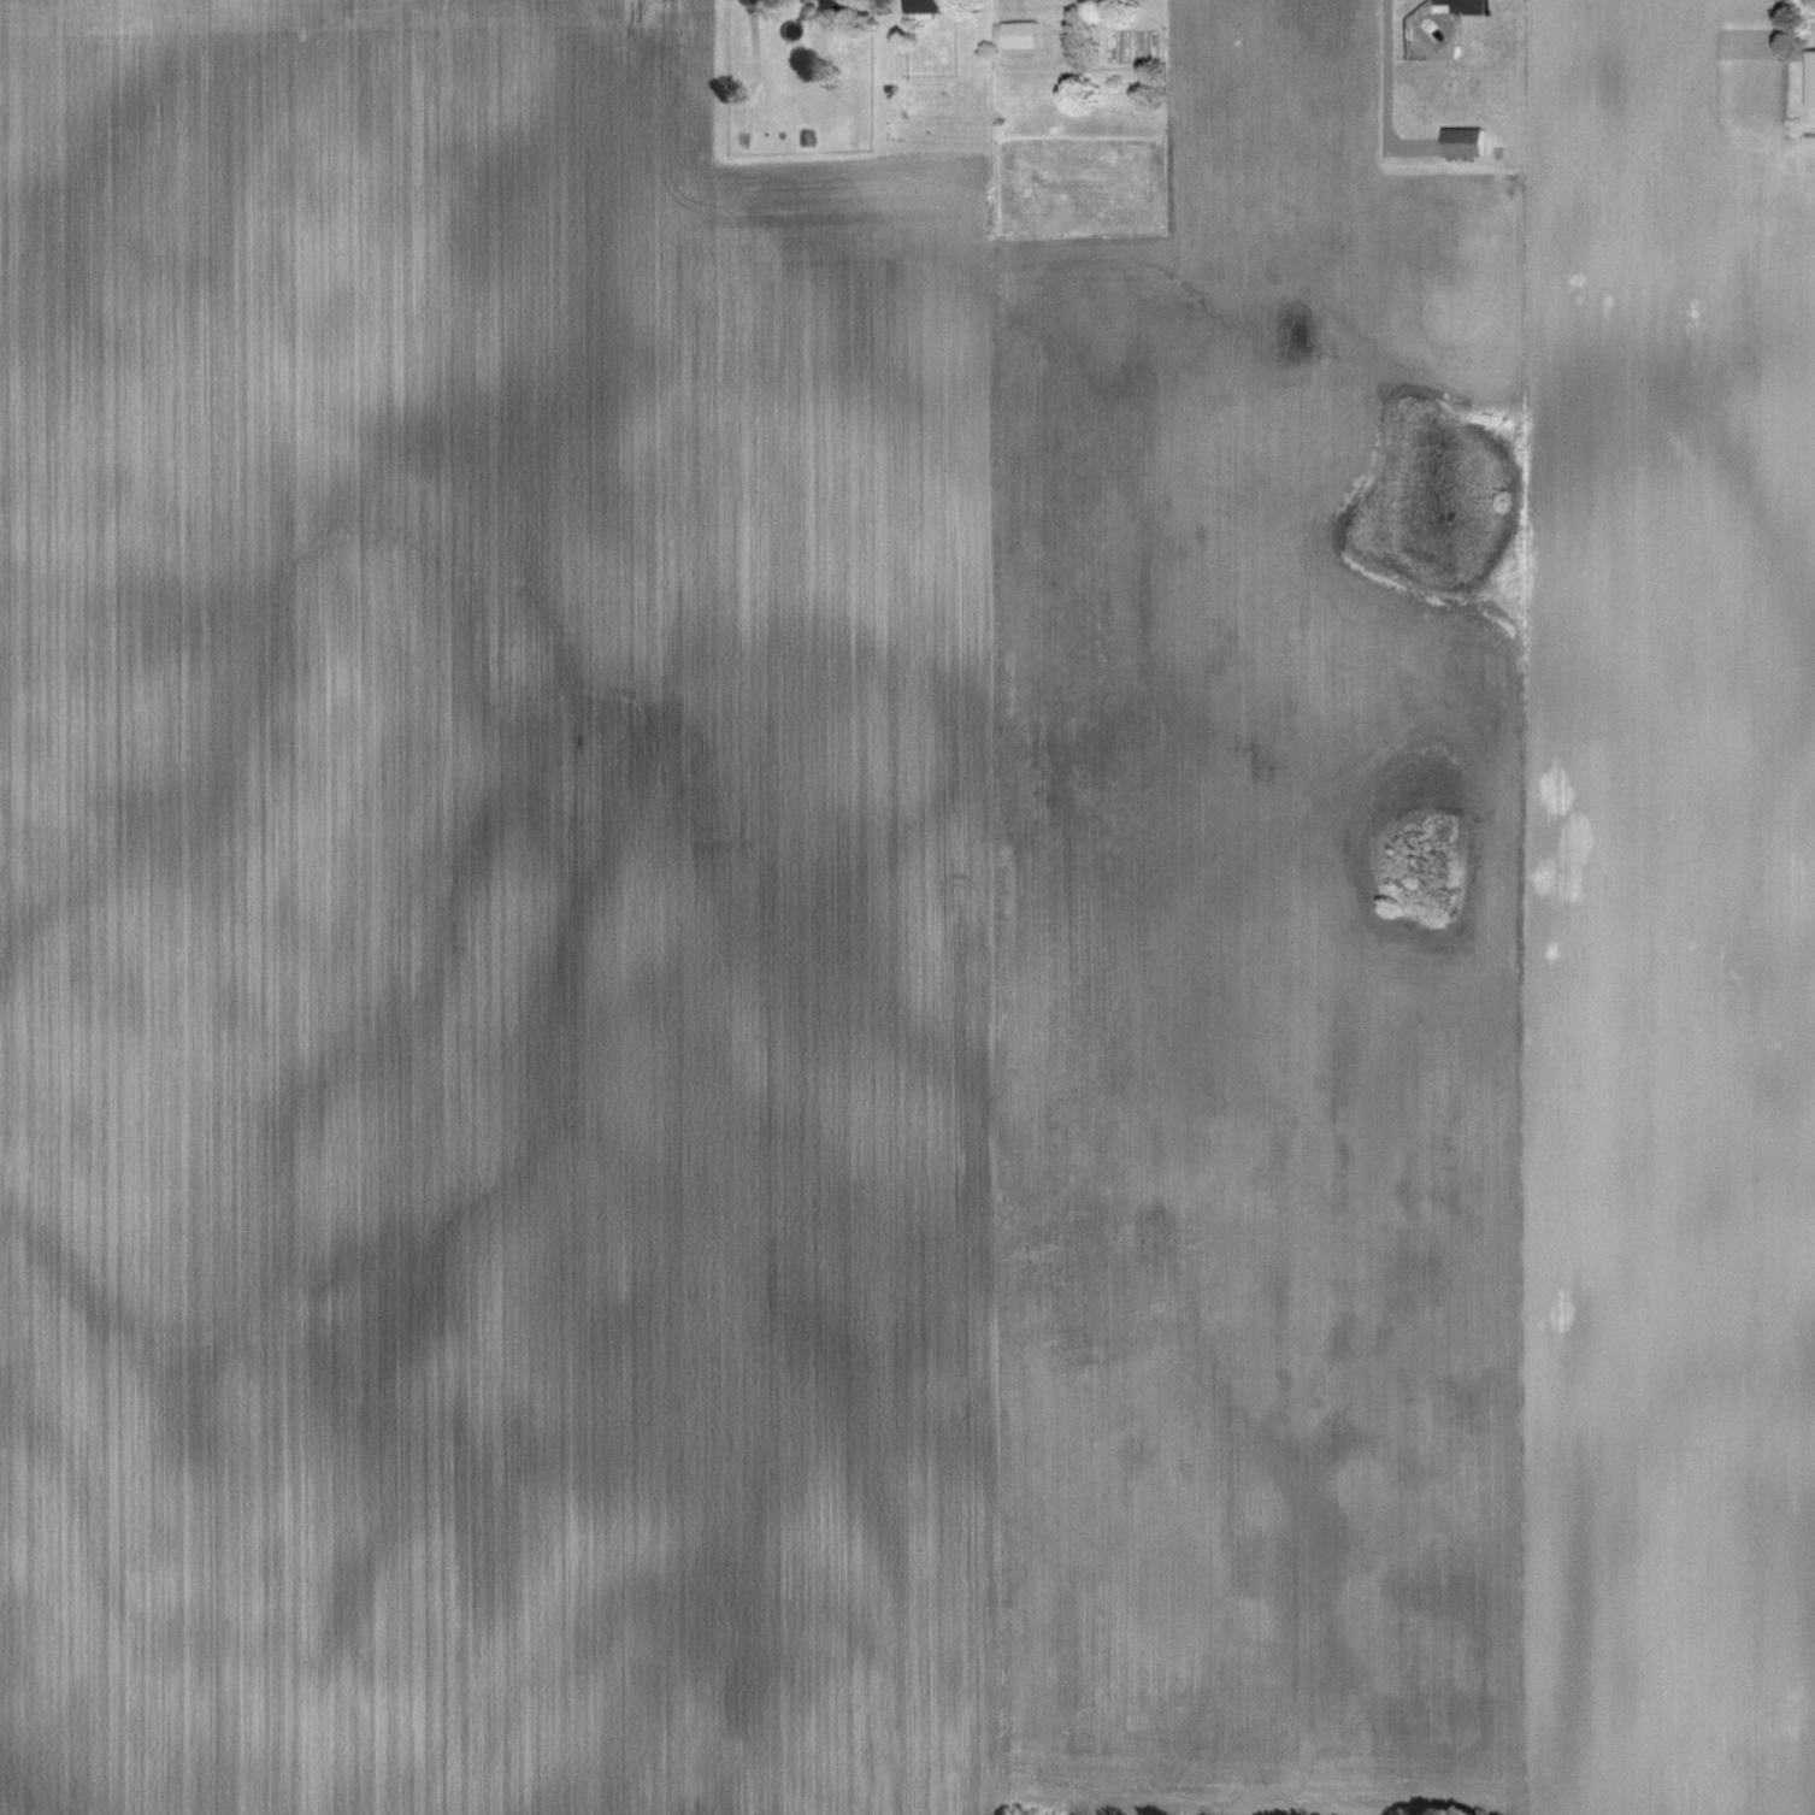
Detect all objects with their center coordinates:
building: (843, 4)
building: (936, 6)
building: (1463, 6)
building: (1027, 36)
building: (1810, 78)
road: (1385, 88)
building: (1468, 143)

